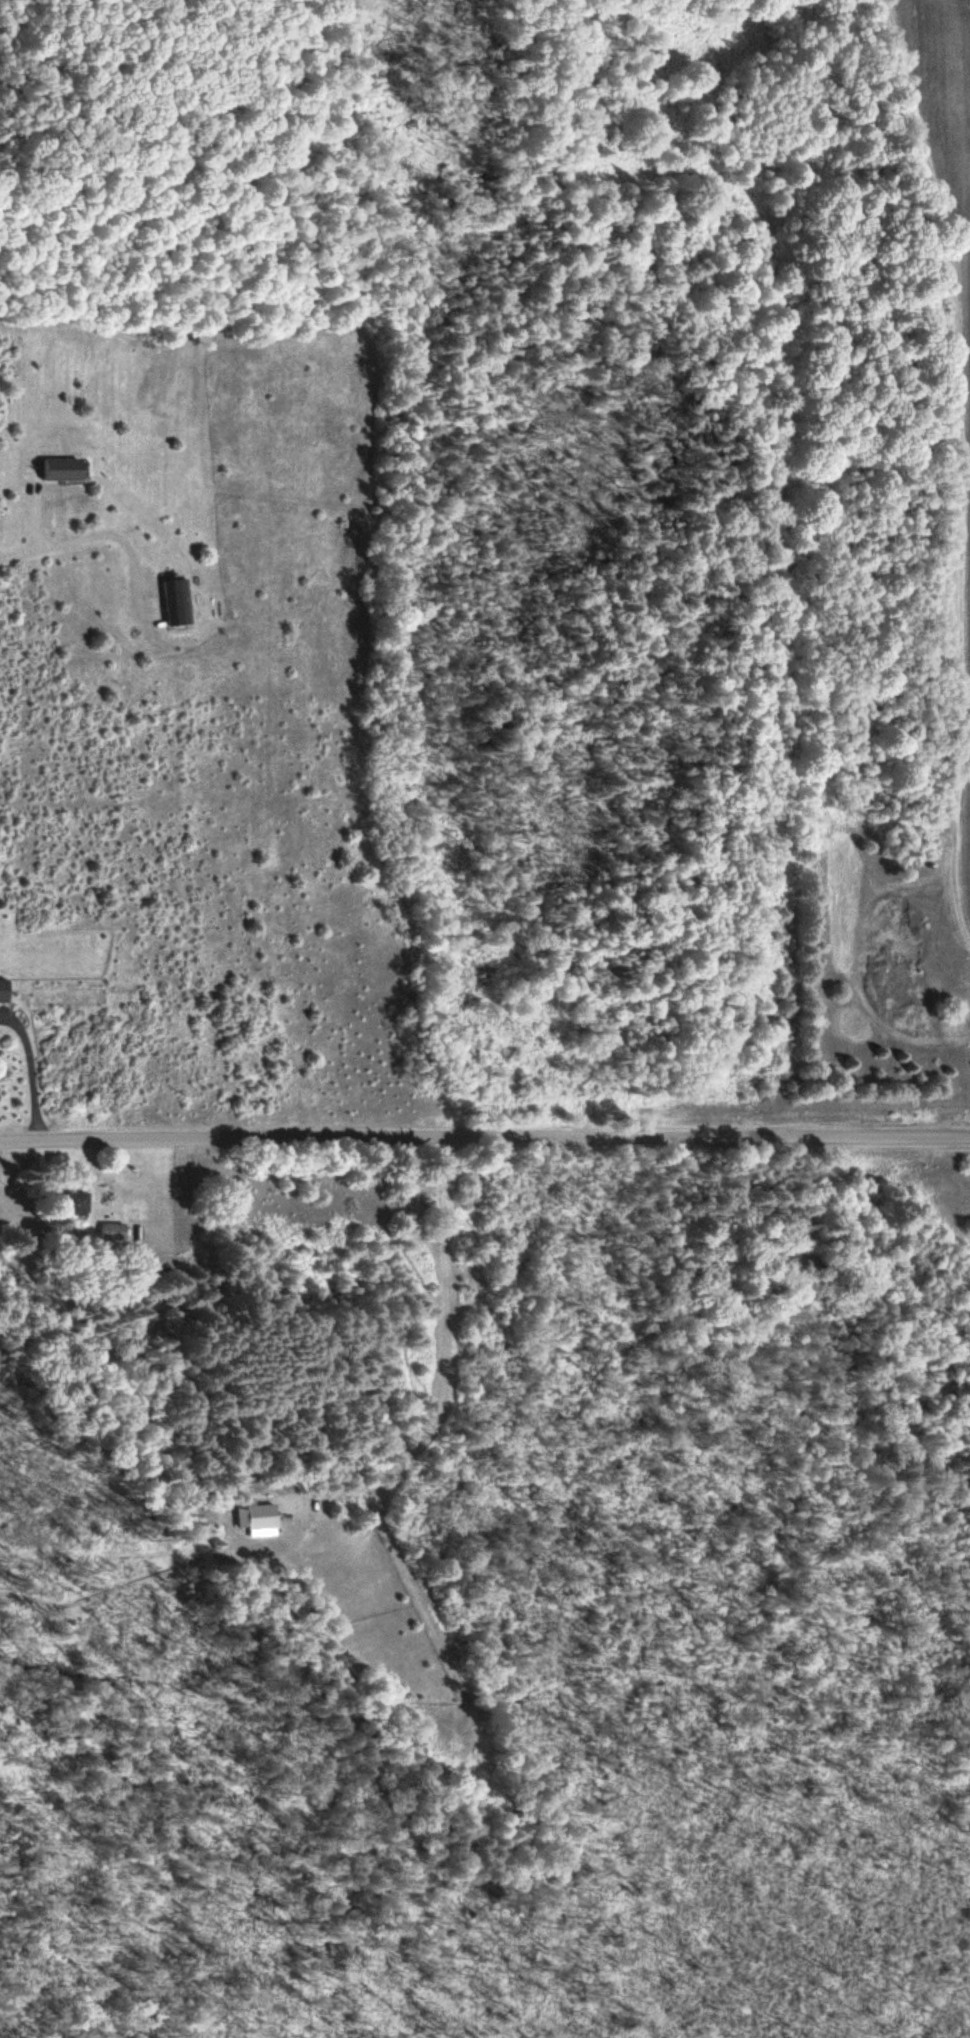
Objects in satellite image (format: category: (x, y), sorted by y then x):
building: (176, 602)
building: (3, 990)
road: (484, 1141)
building: (69, 1202)
building: (113, 1231)
building: (260, 1516)

